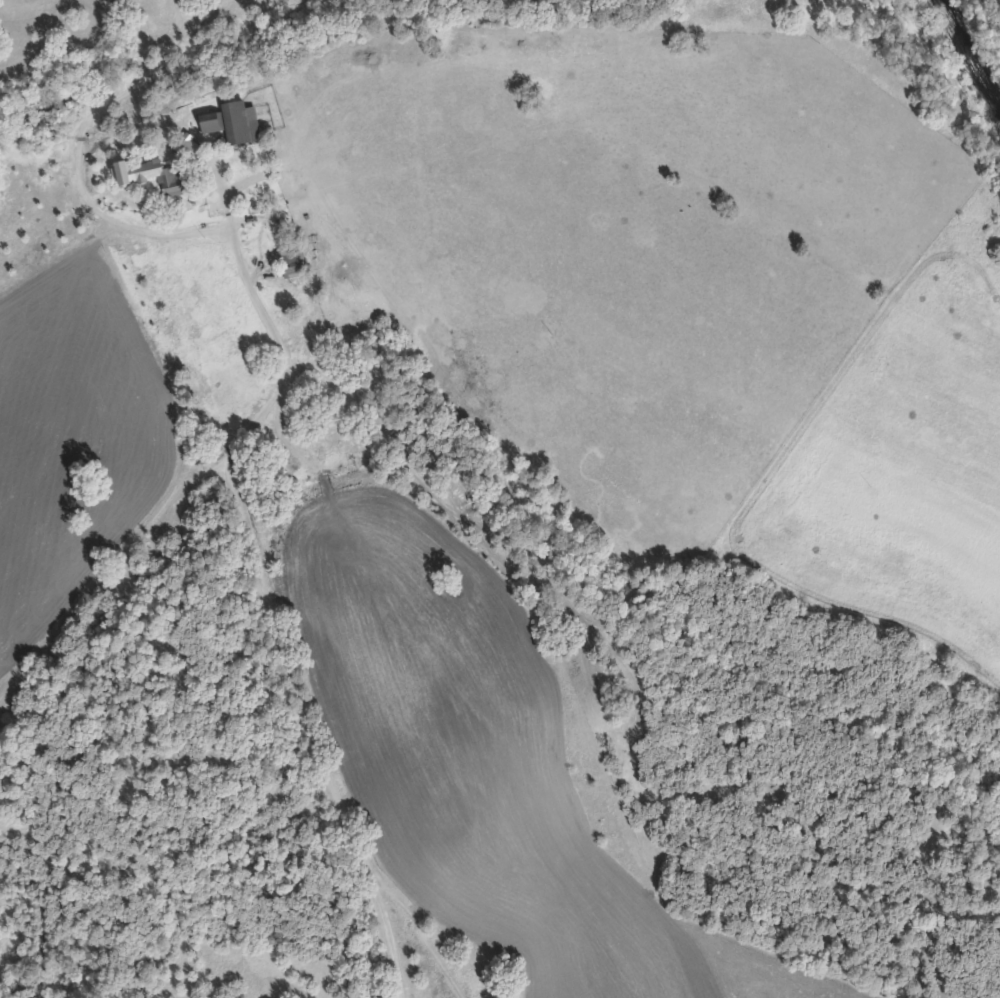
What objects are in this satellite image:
building: (209, 123)
building: (239, 123)
building: (150, 177)
building: (292, 264)
road: (262, 601)

